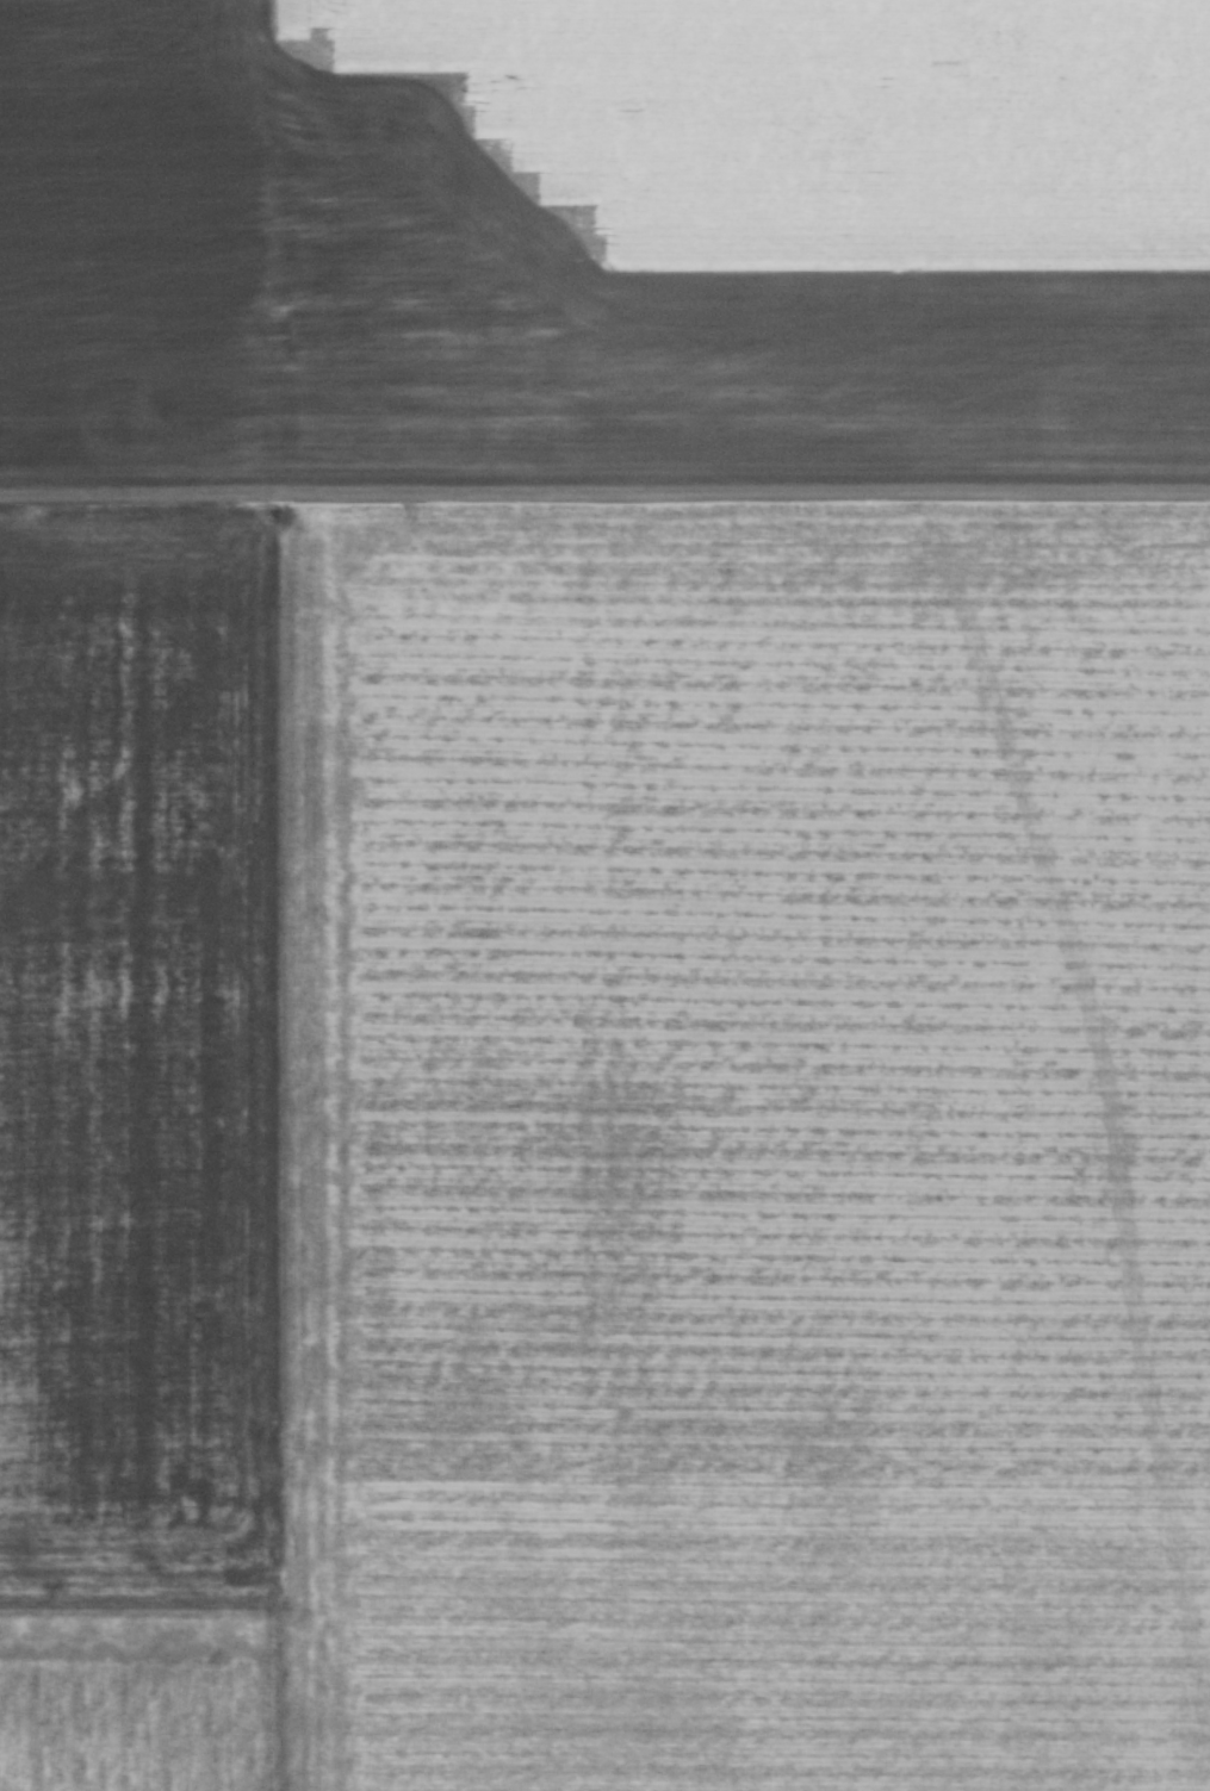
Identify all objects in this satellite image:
road: (604, 496)

